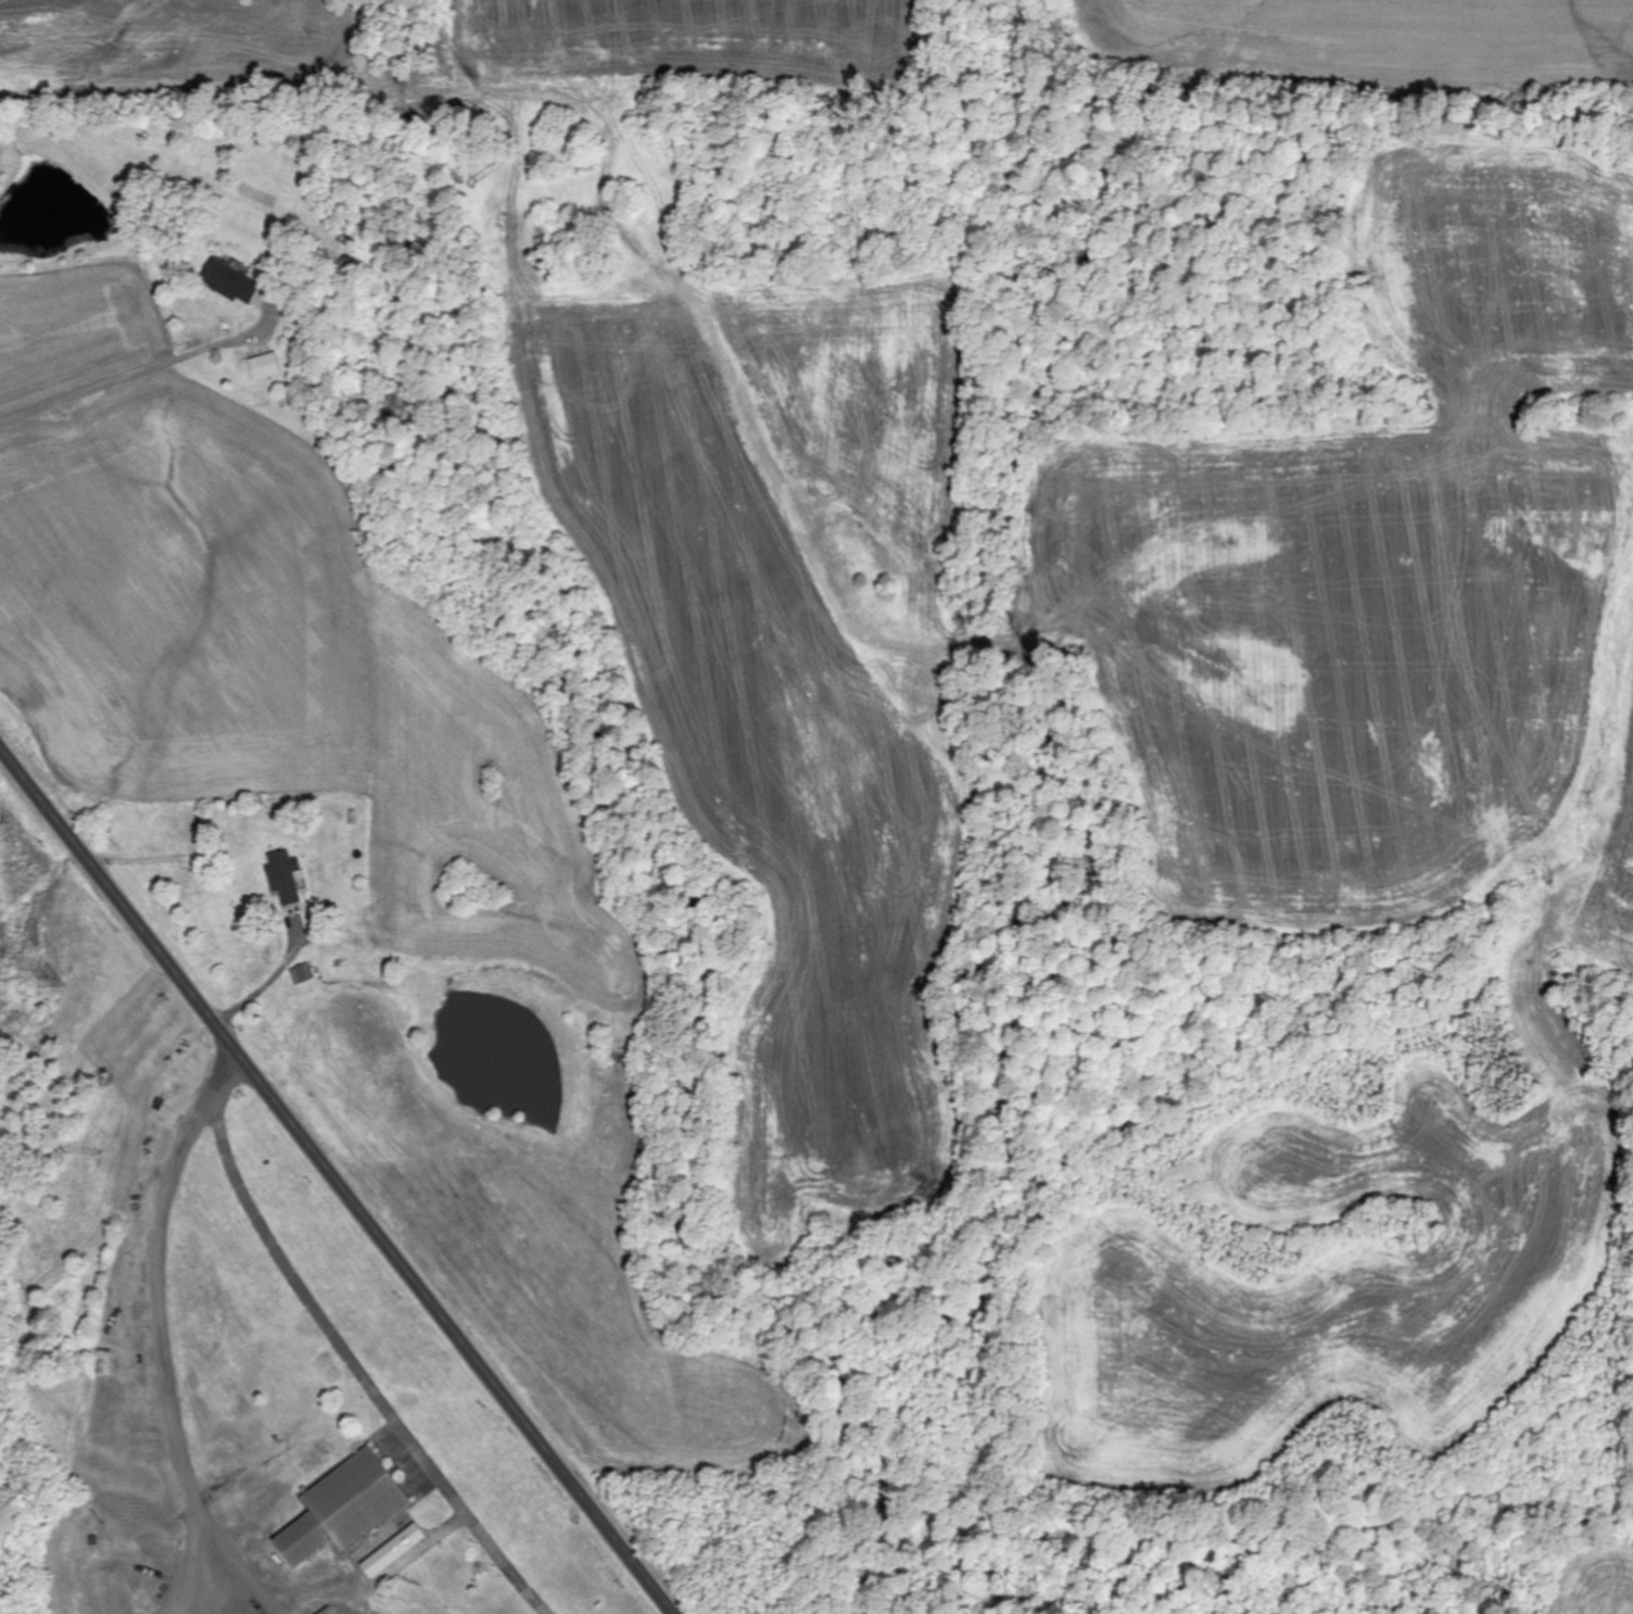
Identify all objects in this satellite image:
building: (231, 281)
building: (267, 367)
road: (357, 506)
road: (280, 798)
building: (286, 877)
road: (339, 1178)
building: (104, 1364)
building: (344, 1509)
building: (394, 1552)

